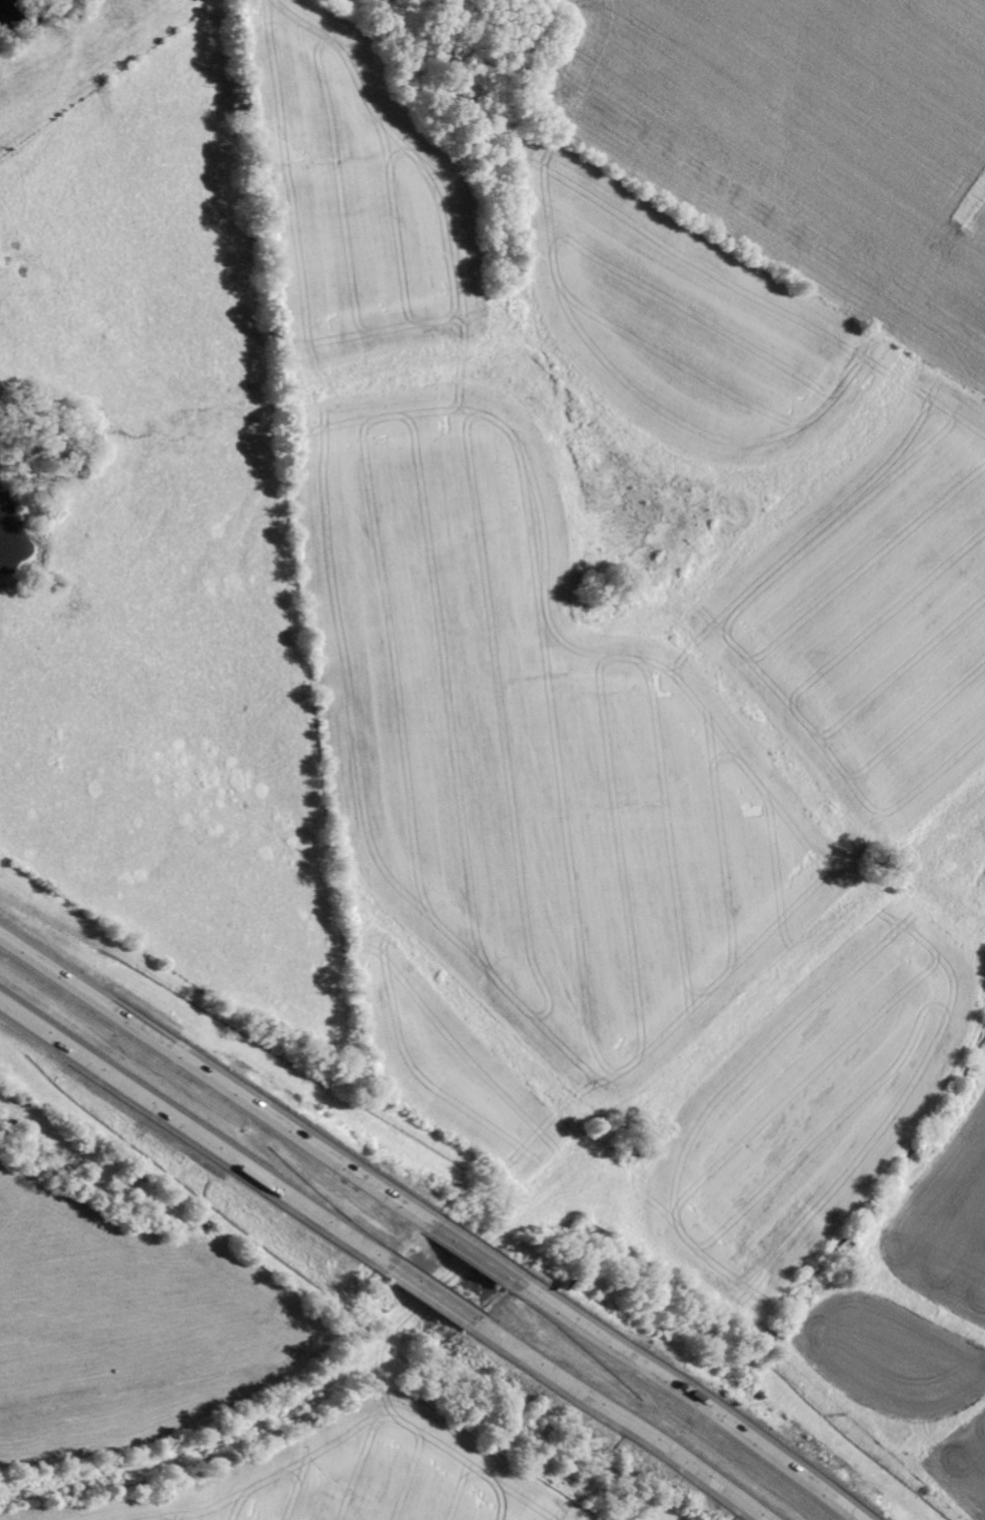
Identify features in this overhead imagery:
road: (216, 1079)
road: (195, 1134)
road: (473, 1252)
road: (431, 1293)
road: (687, 1397)
road: (618, 1419)

